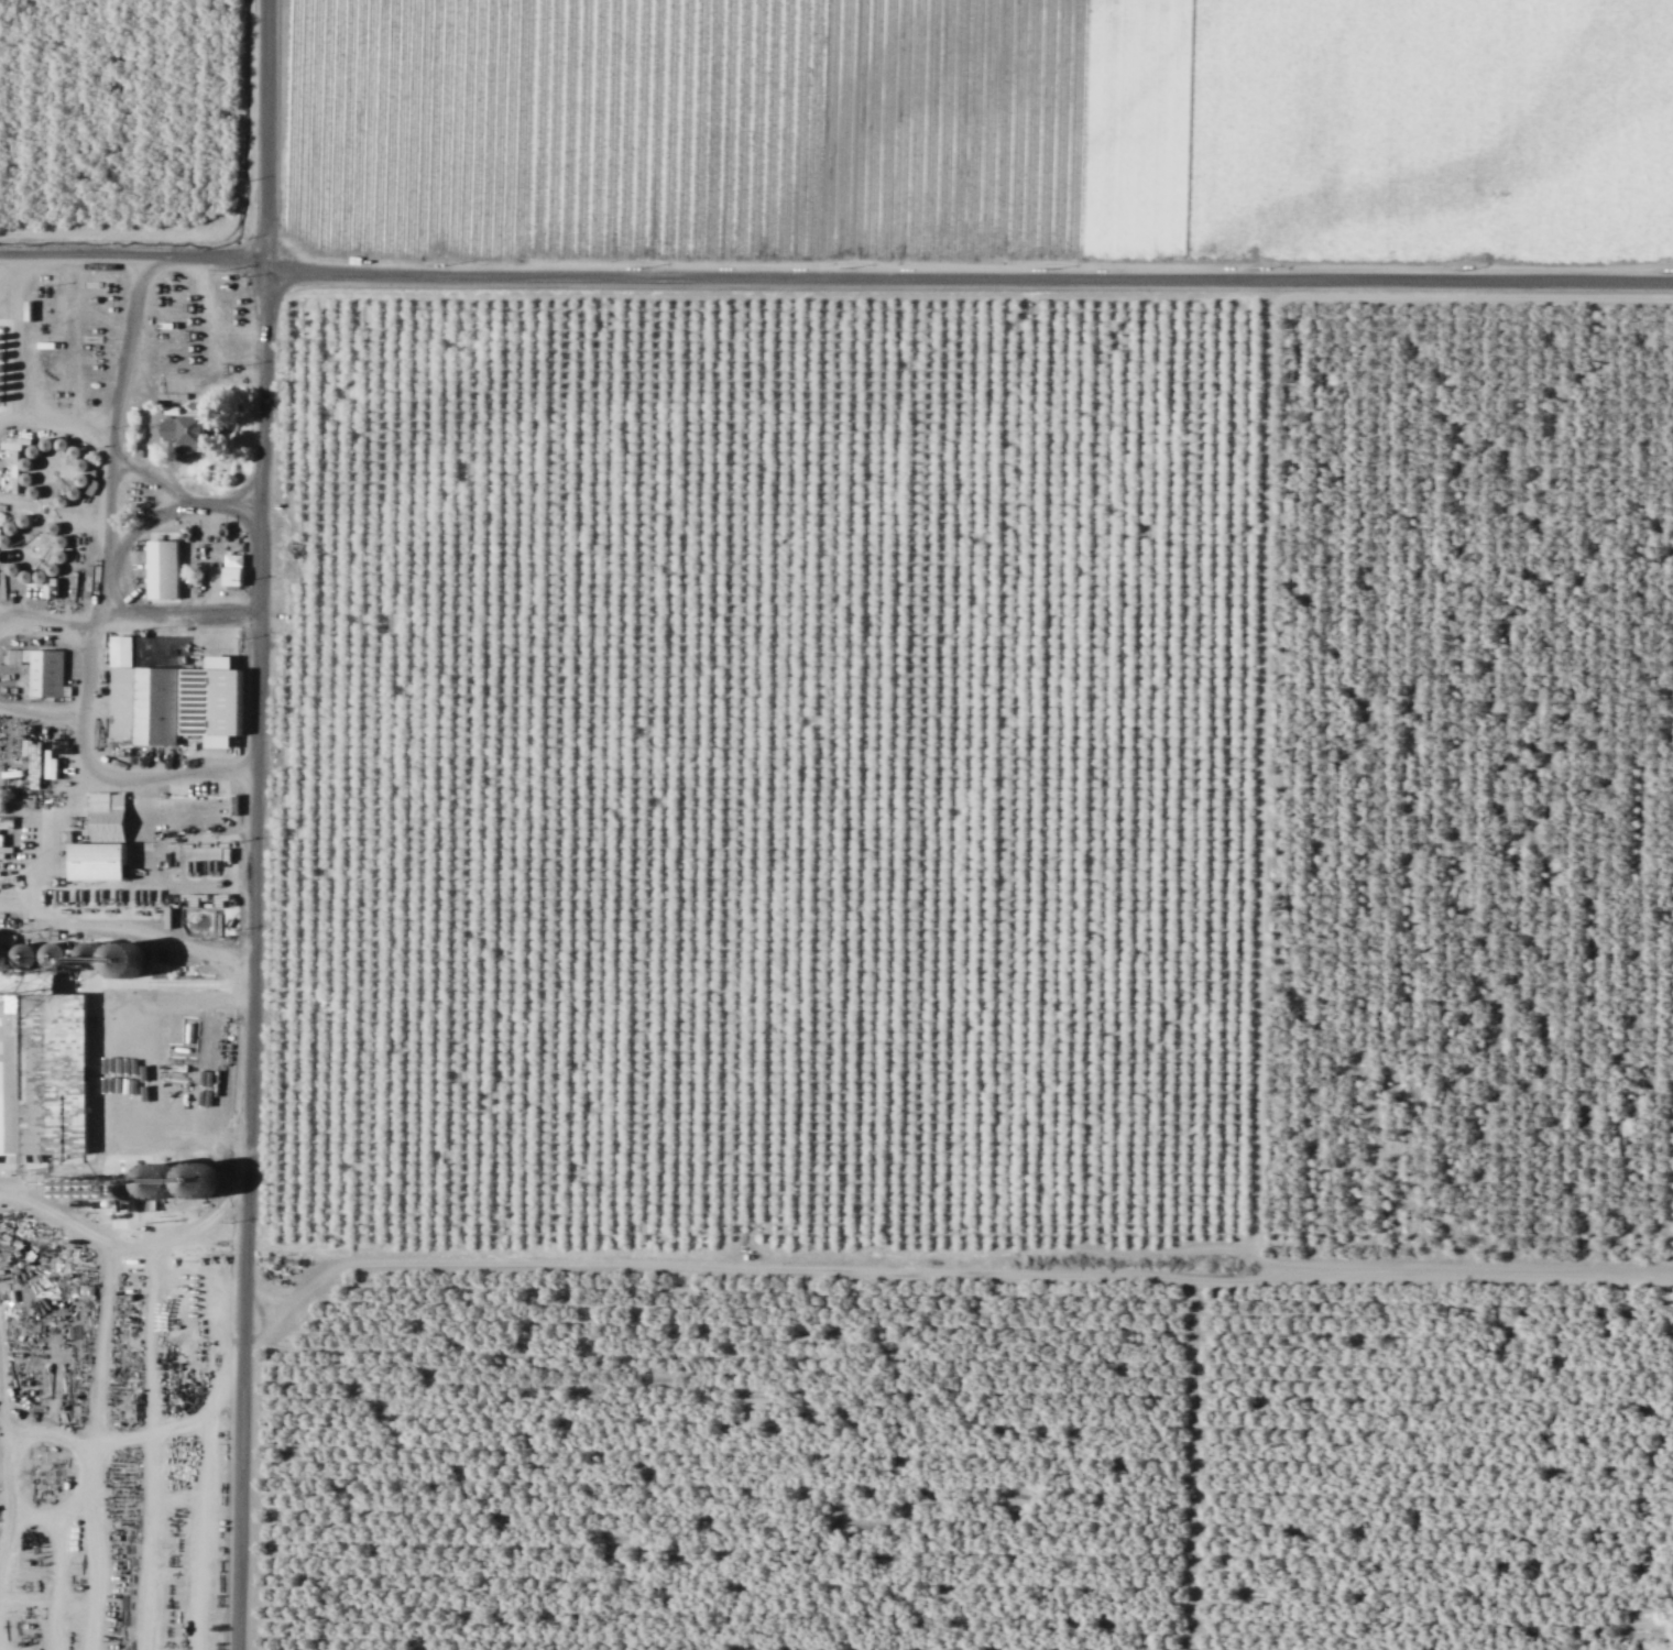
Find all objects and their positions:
road: (221, 222)
road: (10, 262)
road: (852, 263)
road: (834, 276)
road: (1098, 293)
road: (1470, 294)
building: (188, 357)
building: (175, 382)
building: (181, 430)
road: (184, 505)
building: (162, 569)
building: (230, 570)
road: (101, 587)
road: (178, 612)
building: (41, 670)
building: (206, 700)
building: (153, 703)
road: (254, 824)
building: (98, 840)
road: (127, 928)
building: (121, 958)
road: (111, 1062)
building: (41, 1072)
building: (175, 1177)
road: (124, 1244)
road: (959, 1271)
road: (292, 1299)
road: (1194, 1465)

